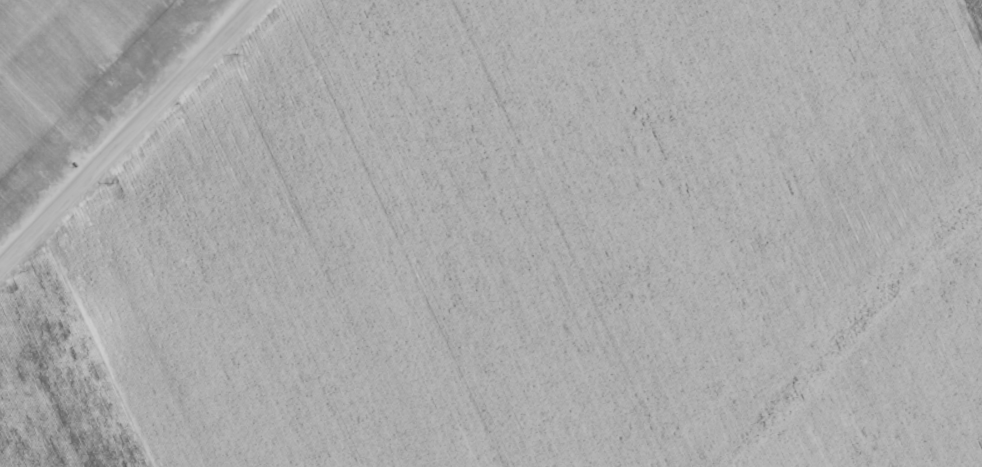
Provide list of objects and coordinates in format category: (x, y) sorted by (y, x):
road: (172, 166)

